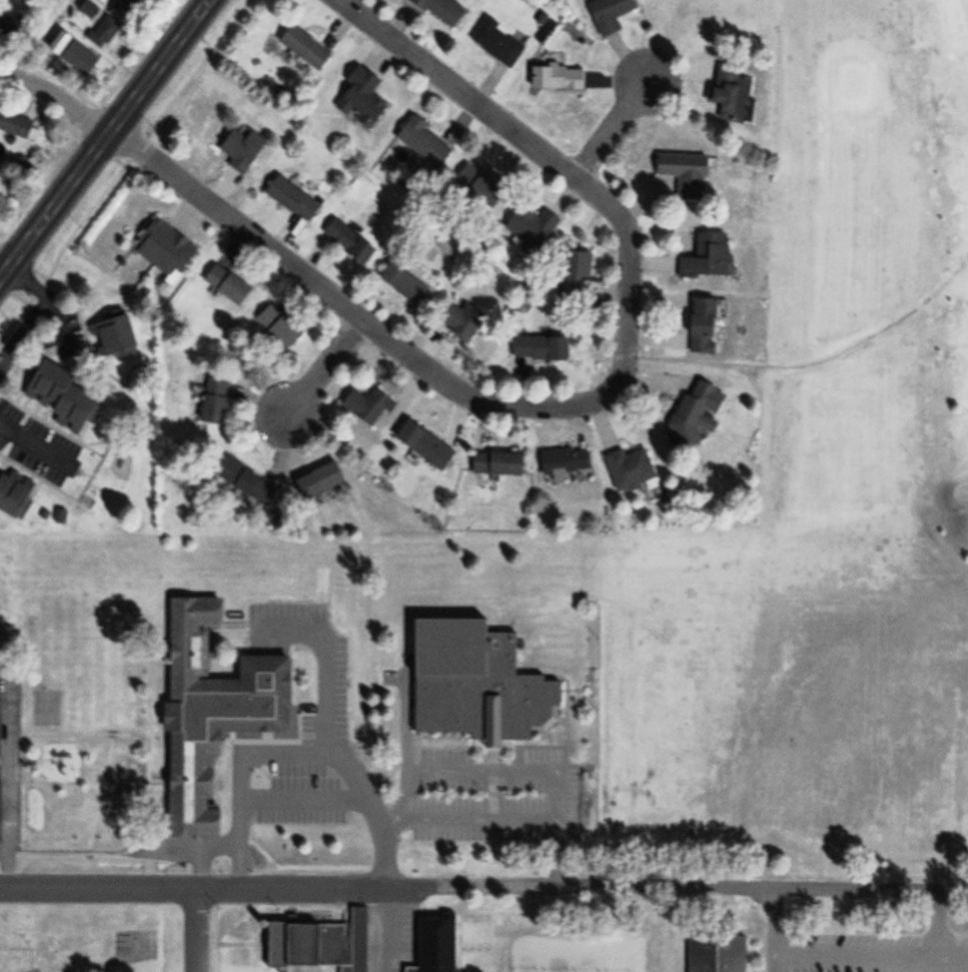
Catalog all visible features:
building: (129, 7)
building: (438, 10)
road: (57, 12)
building: (97, 14)
building: (606, 15)
building: (12, 25)
building: (109, 32)
building: (494, 44)
building: (301, 50)
building: (87, 61)
building: (553, 80)
building: (726, 96)
road: (59, 100)
building: (358, 100)
building: (19, 125)
road: (612, 131)
road: (108, 142)
building: (421, 144)
building: (238, 150)
road: (561, 167)
building: (682, 175)
building: (473, 185)
building: (289, 200)
building: (528, 230)
building: (345, 243)
building: (162, 249)
building: (704, 259)
road: (5, 269)
building: (571, 274)
building: (224, 286)
building: (402, 286)
road: (53, 303)
road: (339, 306)
building: (457, 322)
building: (699, 327)
building: (274, 328)
building: (108, 337)
road: (30, 346)
building: (537, 349)
road: (320, 369)
building: (57, 402)
building: (211, 402)
building: (364, 408)
building: (689, 415)
building: (420, 446)
road: (40, 454)
building: (562, 462)
building: (493, 464)
building: (626, 470)
building: (242, 483)
building: (313, 484)
building: (11, 495)
park: (735, 563)
building: (473, 685)
building: (207, 713)
building: (3, 720)
road: (302, 748)
road: (12, 770)
building: (4, 807)
road: (499, 818)
road: (206, 855)
road: (483, 887)
road: (935, 921)
road: (386, 930)
road: (197, 932)
parking lot: (865, 938)
park: (490, 939)
building: (316, 945)
building: (432, 945)
road: (846, 947)
building: (714, 954)

